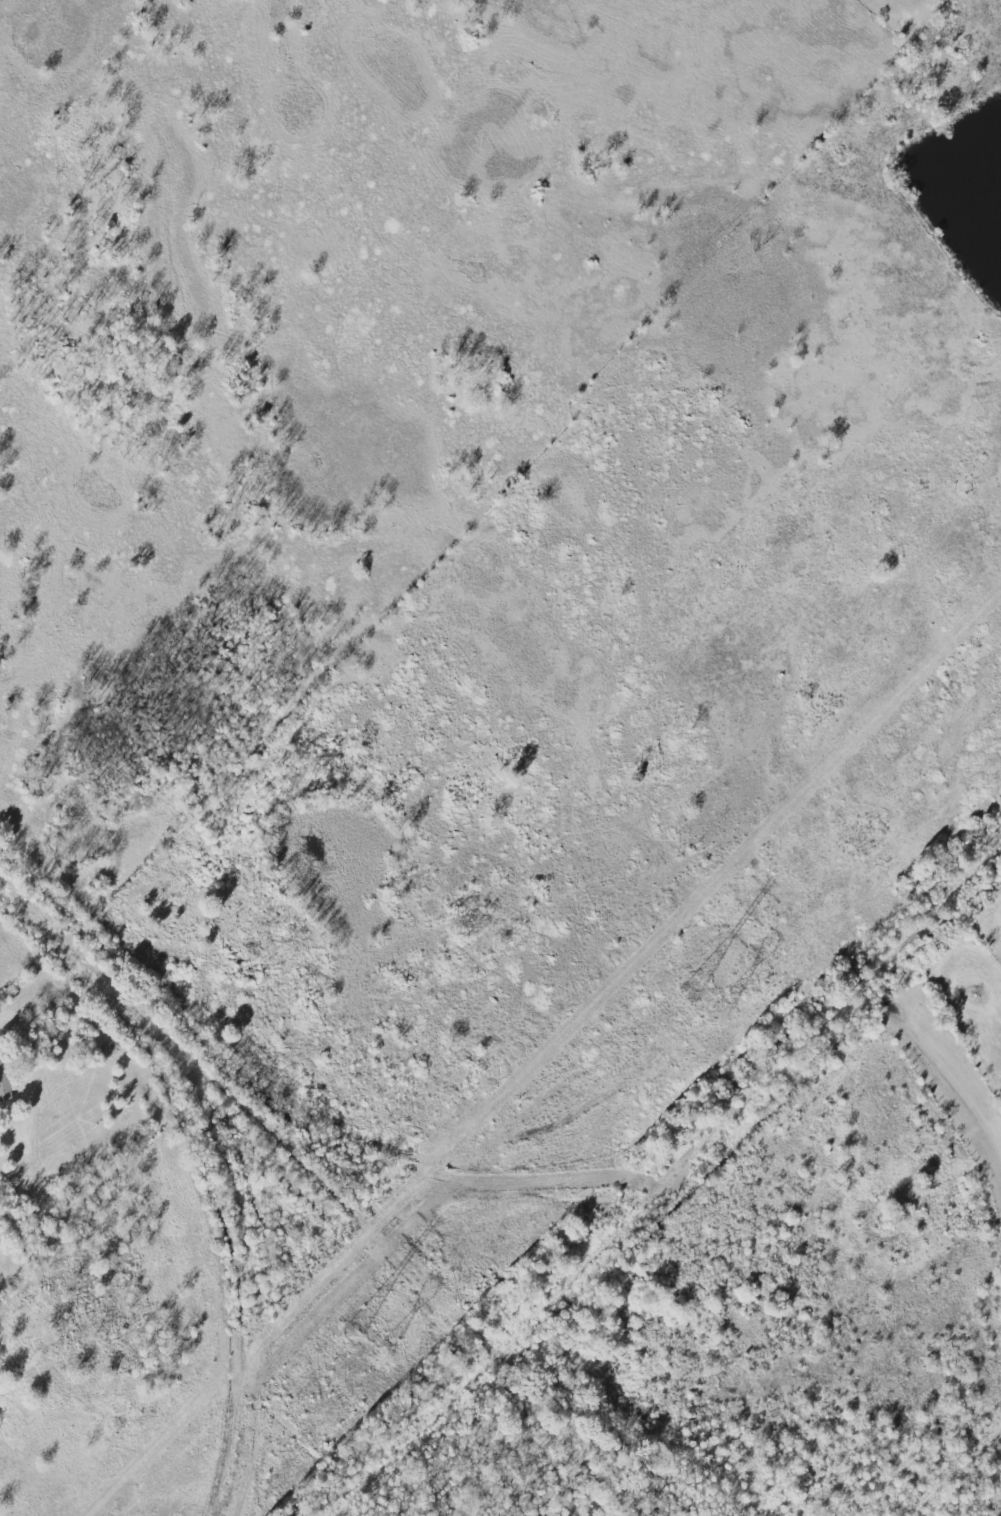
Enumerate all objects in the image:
power tower: (688, 994)
power tower: (719, 1014)
building: (3, 1079)
railway: (669, 1167)
railway: (249, 1269)
power tower: (351, 1338)
power tower: (379, 1358)

